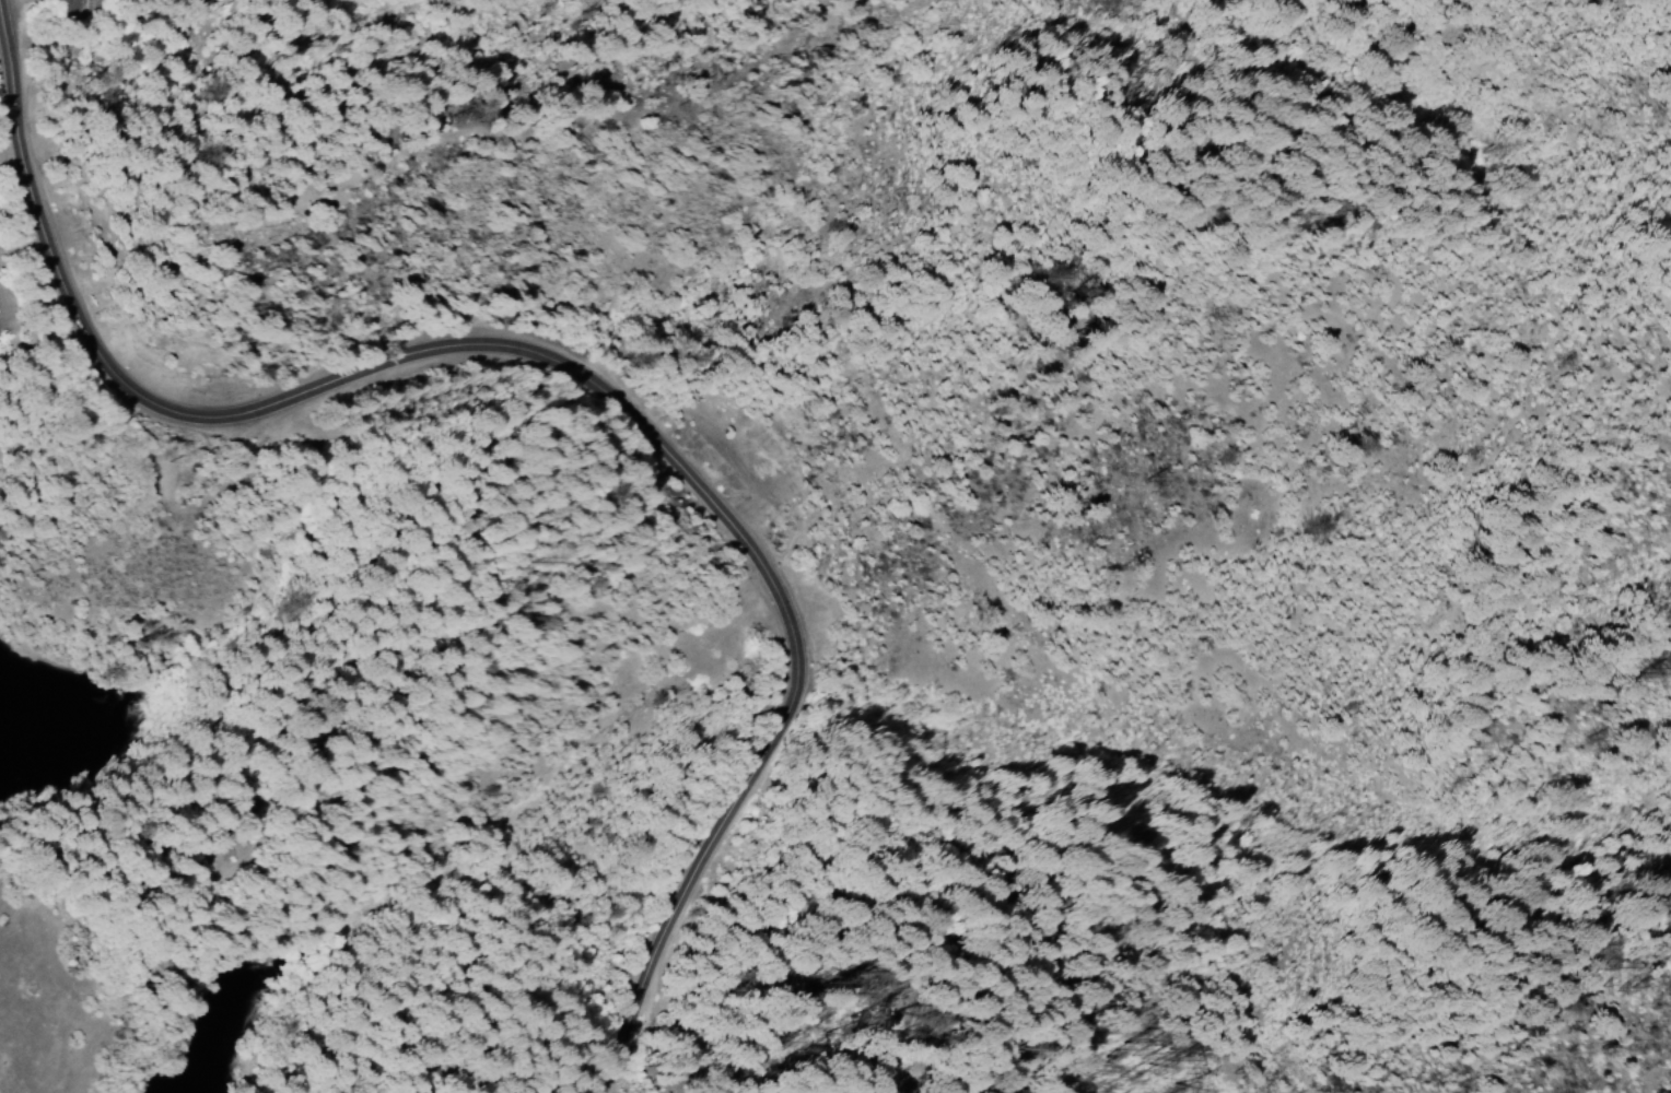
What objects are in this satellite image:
building: (74, 8)
road: (179, 172)
road: (559, 365)
road: (360, 696)
road: (523, 883)

